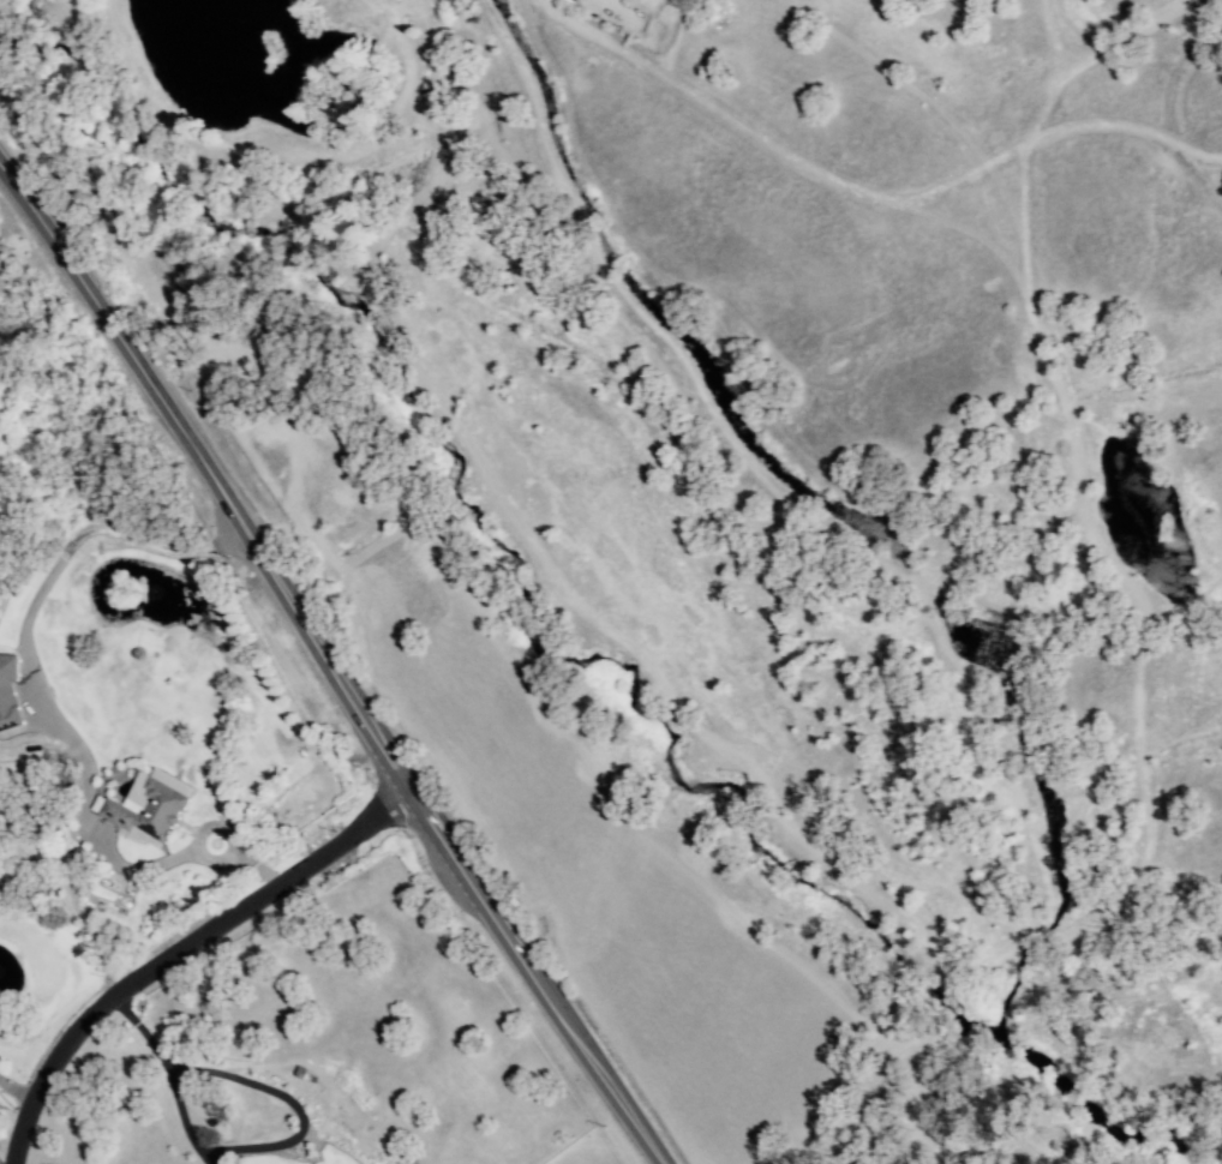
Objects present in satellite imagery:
road: (128, 350)
building: (8, 692)
road: (44, 700)
road: (454, 853)
road: (179, 949)
road: (167, 1074)
road: (16, 1093)

